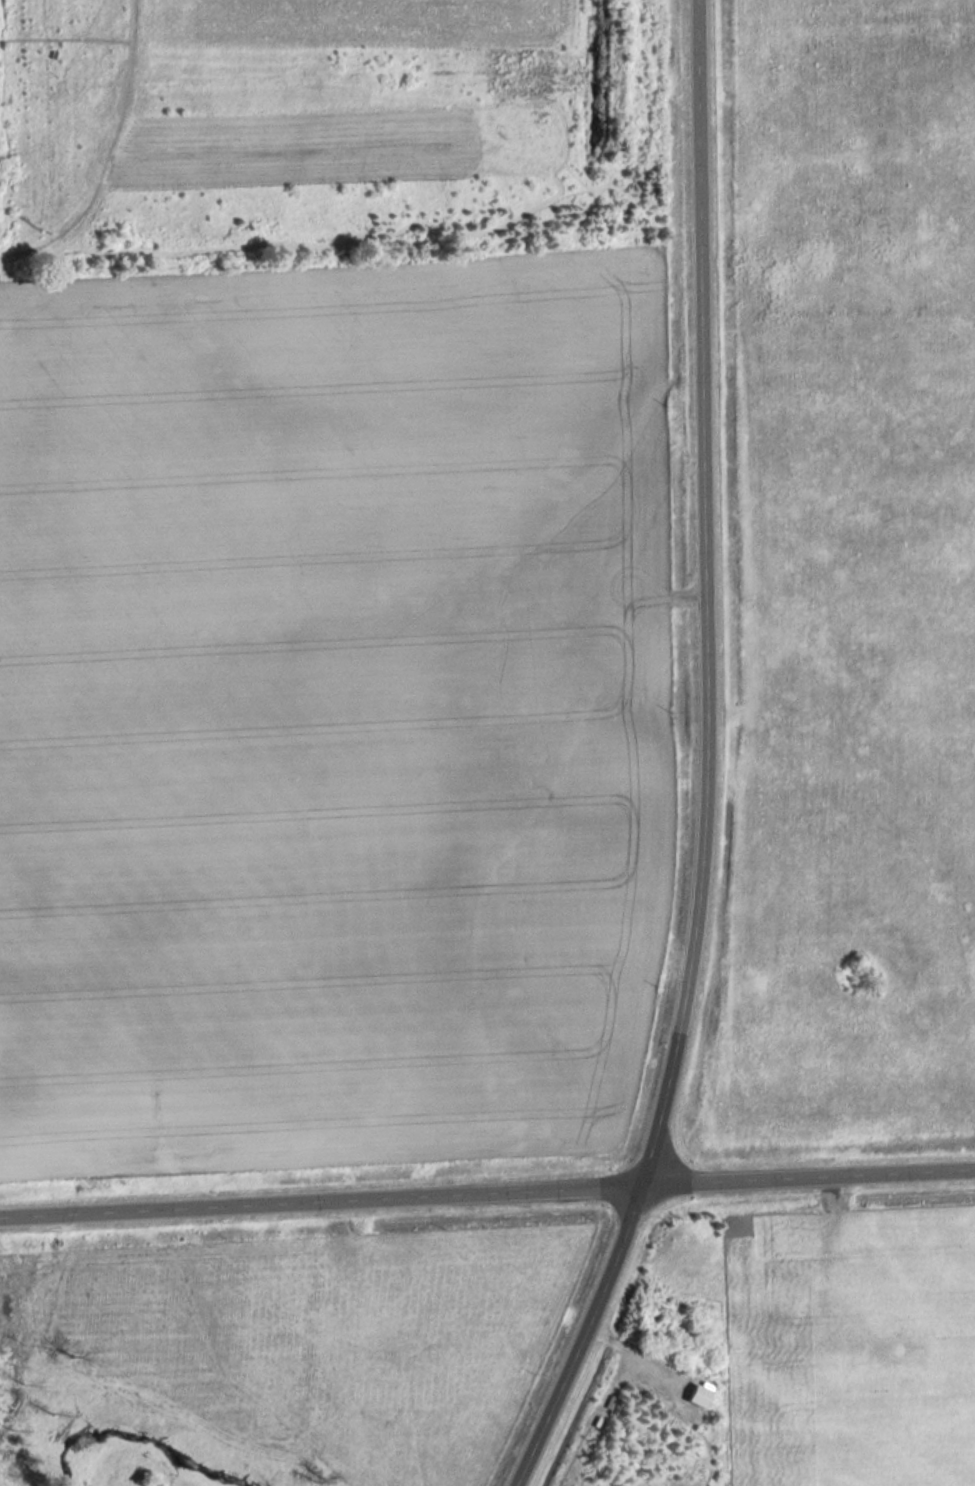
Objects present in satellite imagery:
road: (709, 760)
road: (487, 1188)
building: (784, 1335)
building: (888, 1353)

